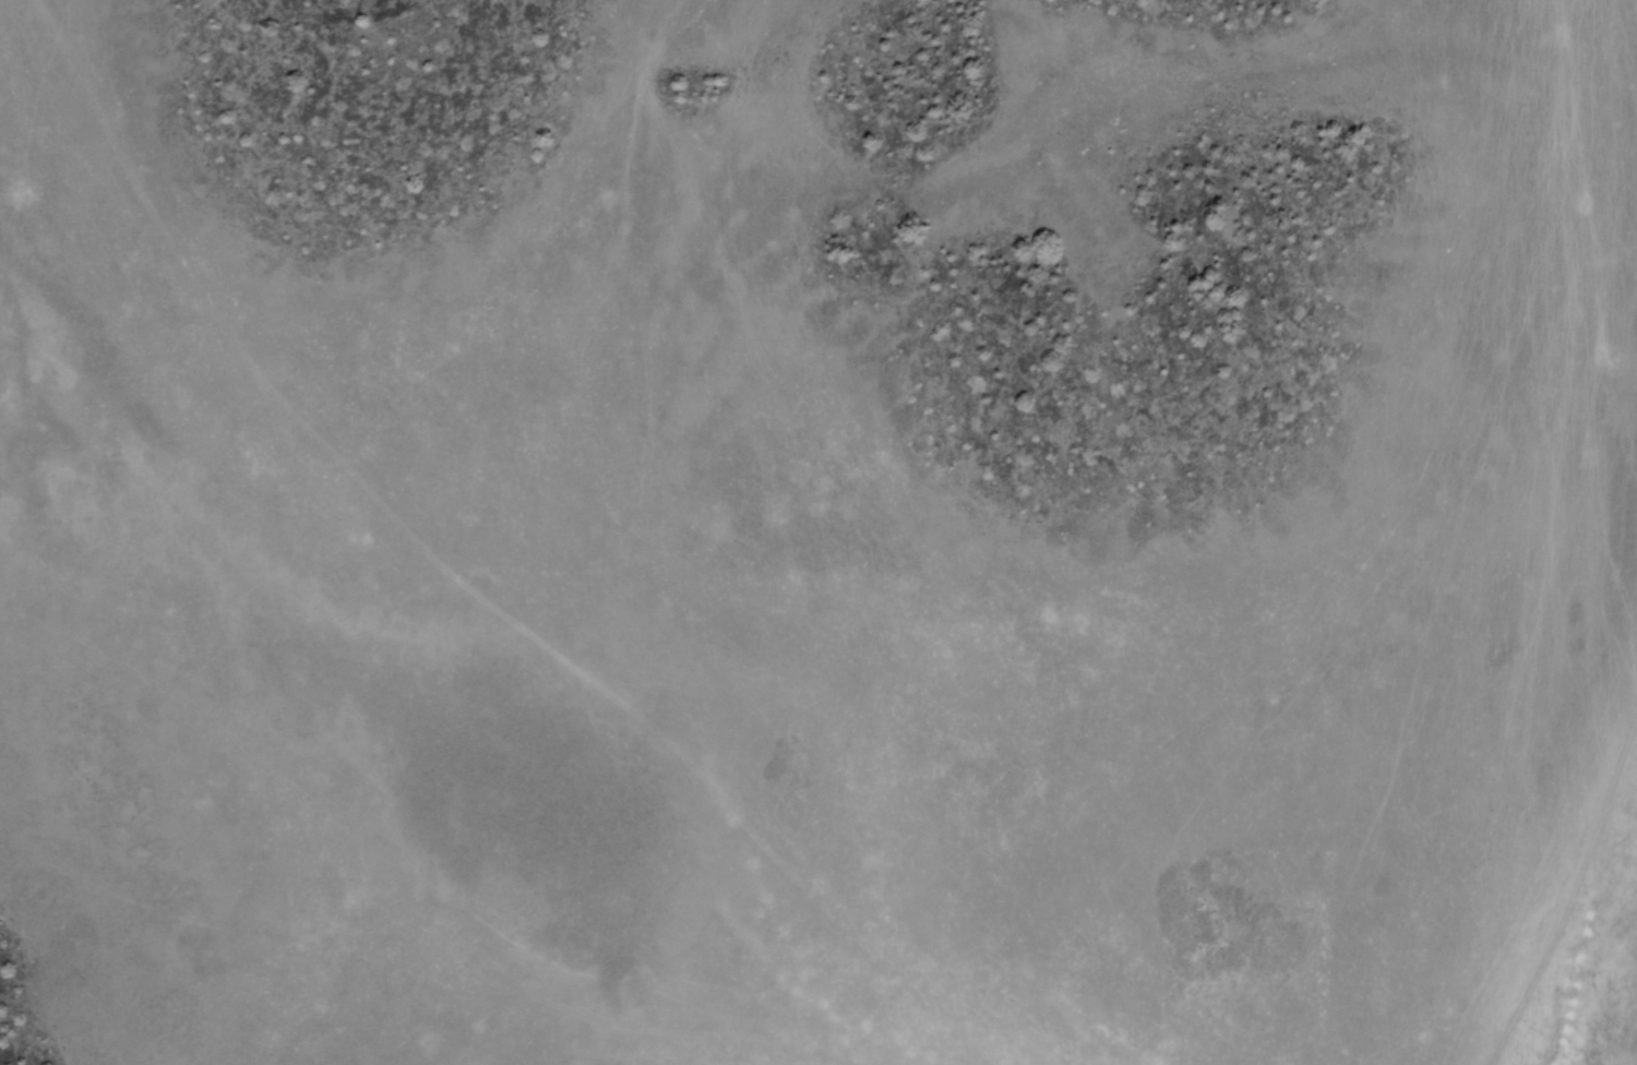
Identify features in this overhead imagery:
road: (1567, 888)

